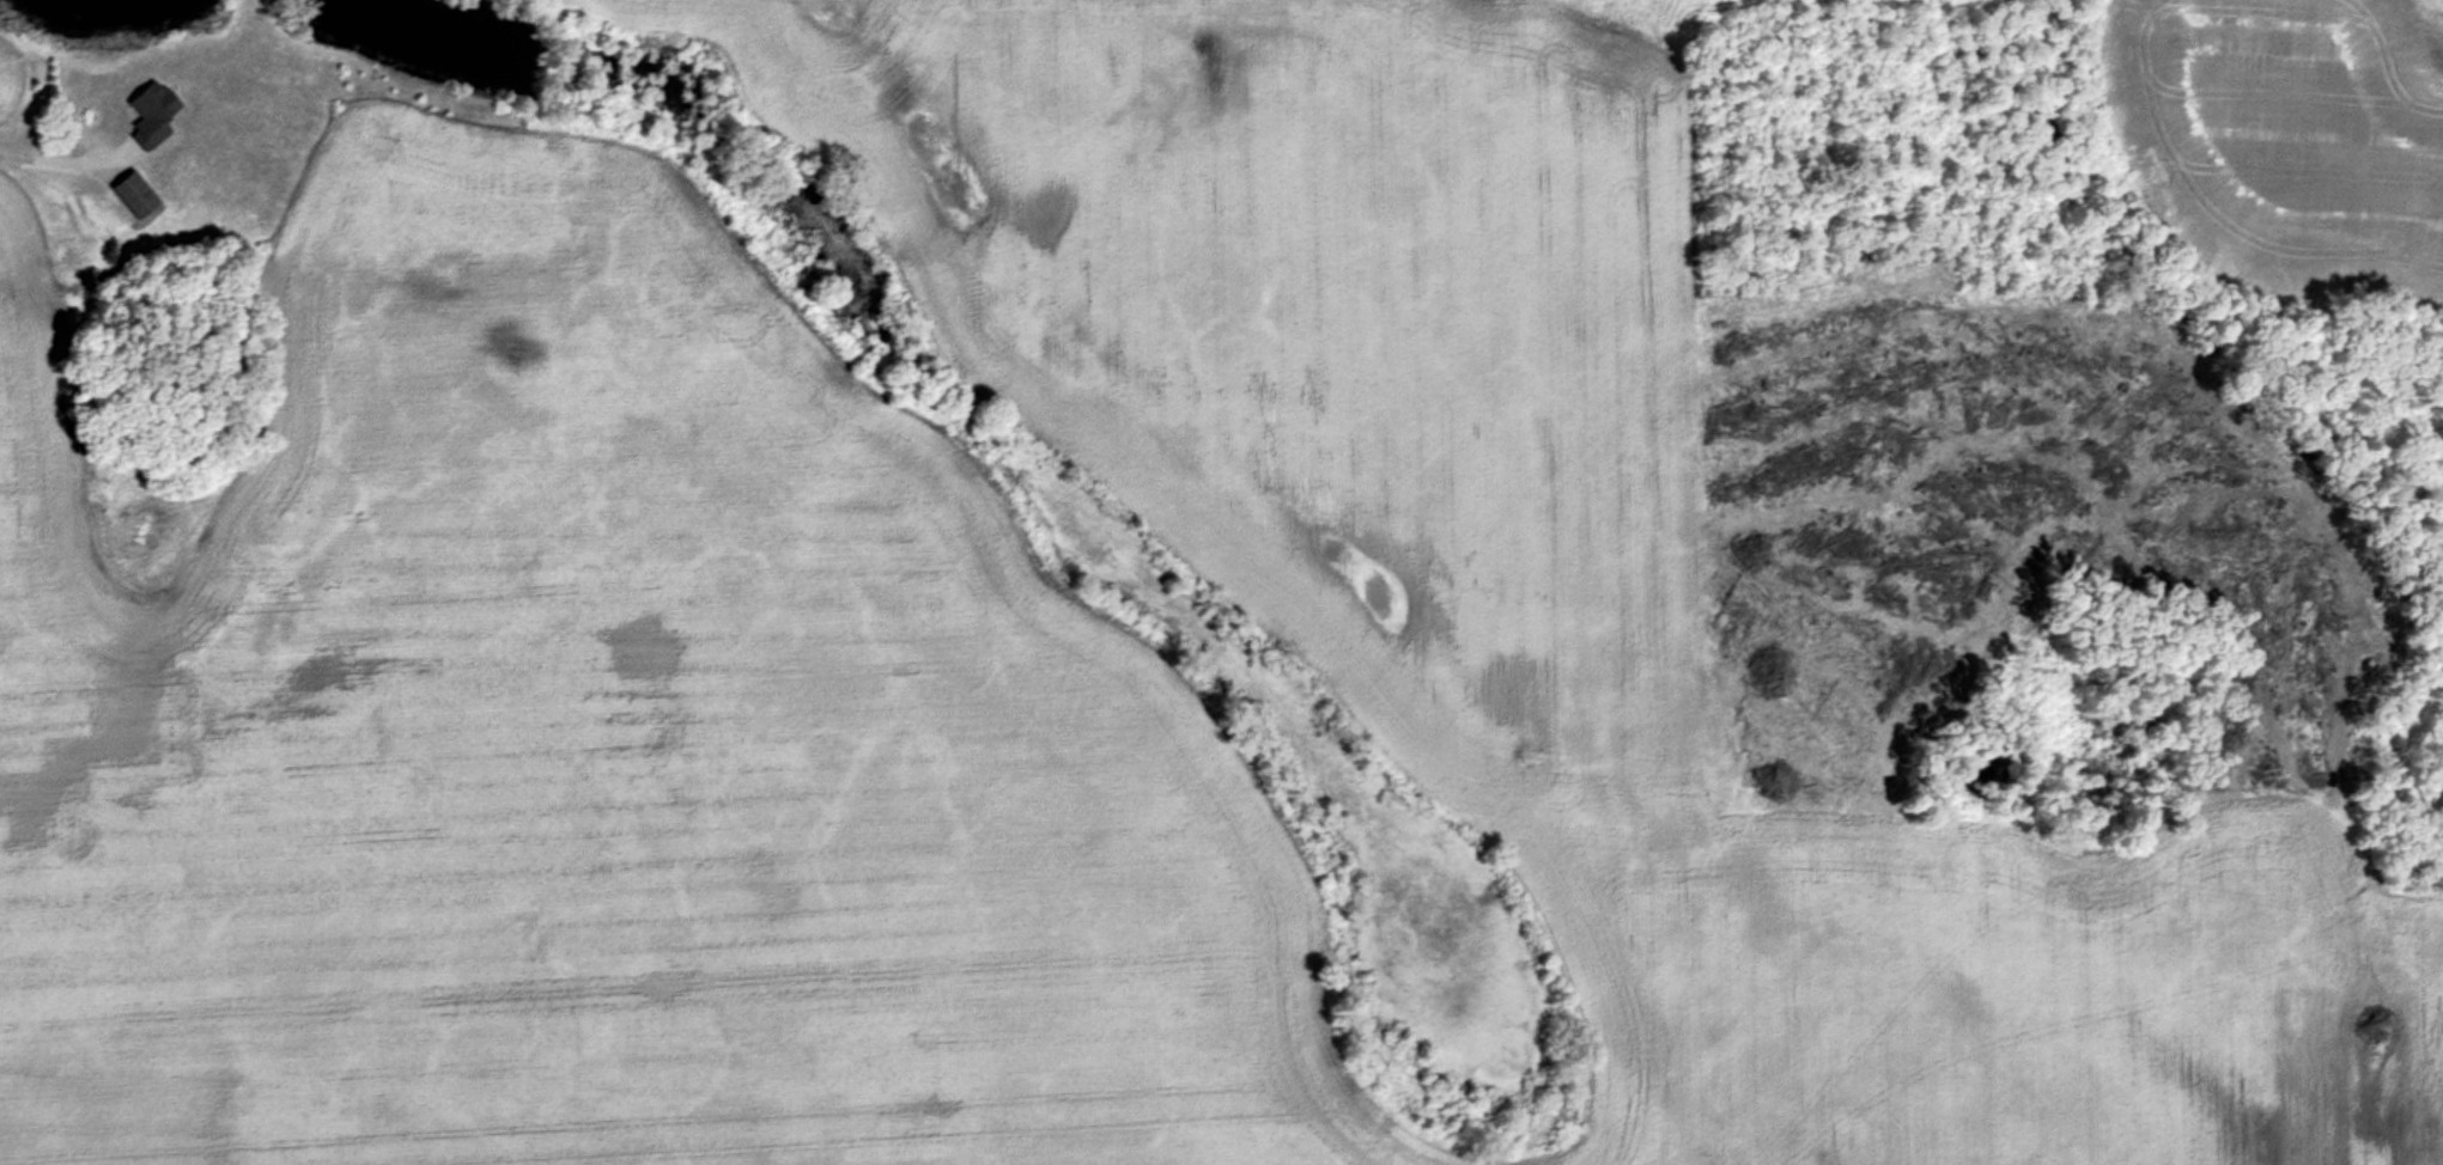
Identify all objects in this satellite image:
road: (60, 158)

